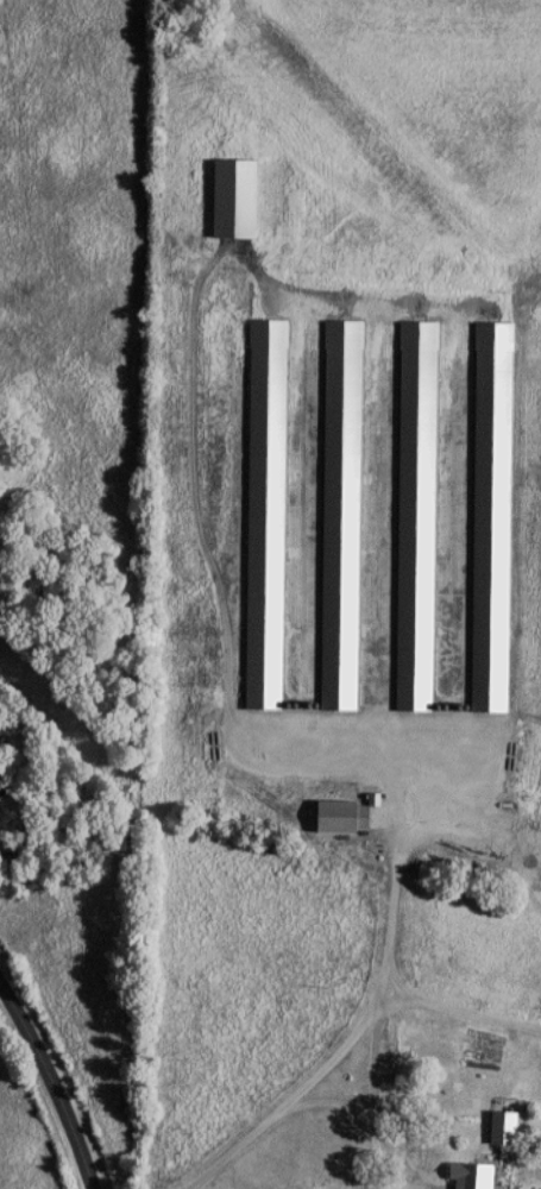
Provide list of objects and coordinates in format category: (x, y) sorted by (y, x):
road: (394, 883)
road: (346, 1044)
road: (54, 1080)
road: (365, 1108)
road: (503, 1146)
building: (419, 1159)
building: (523, 1160)

